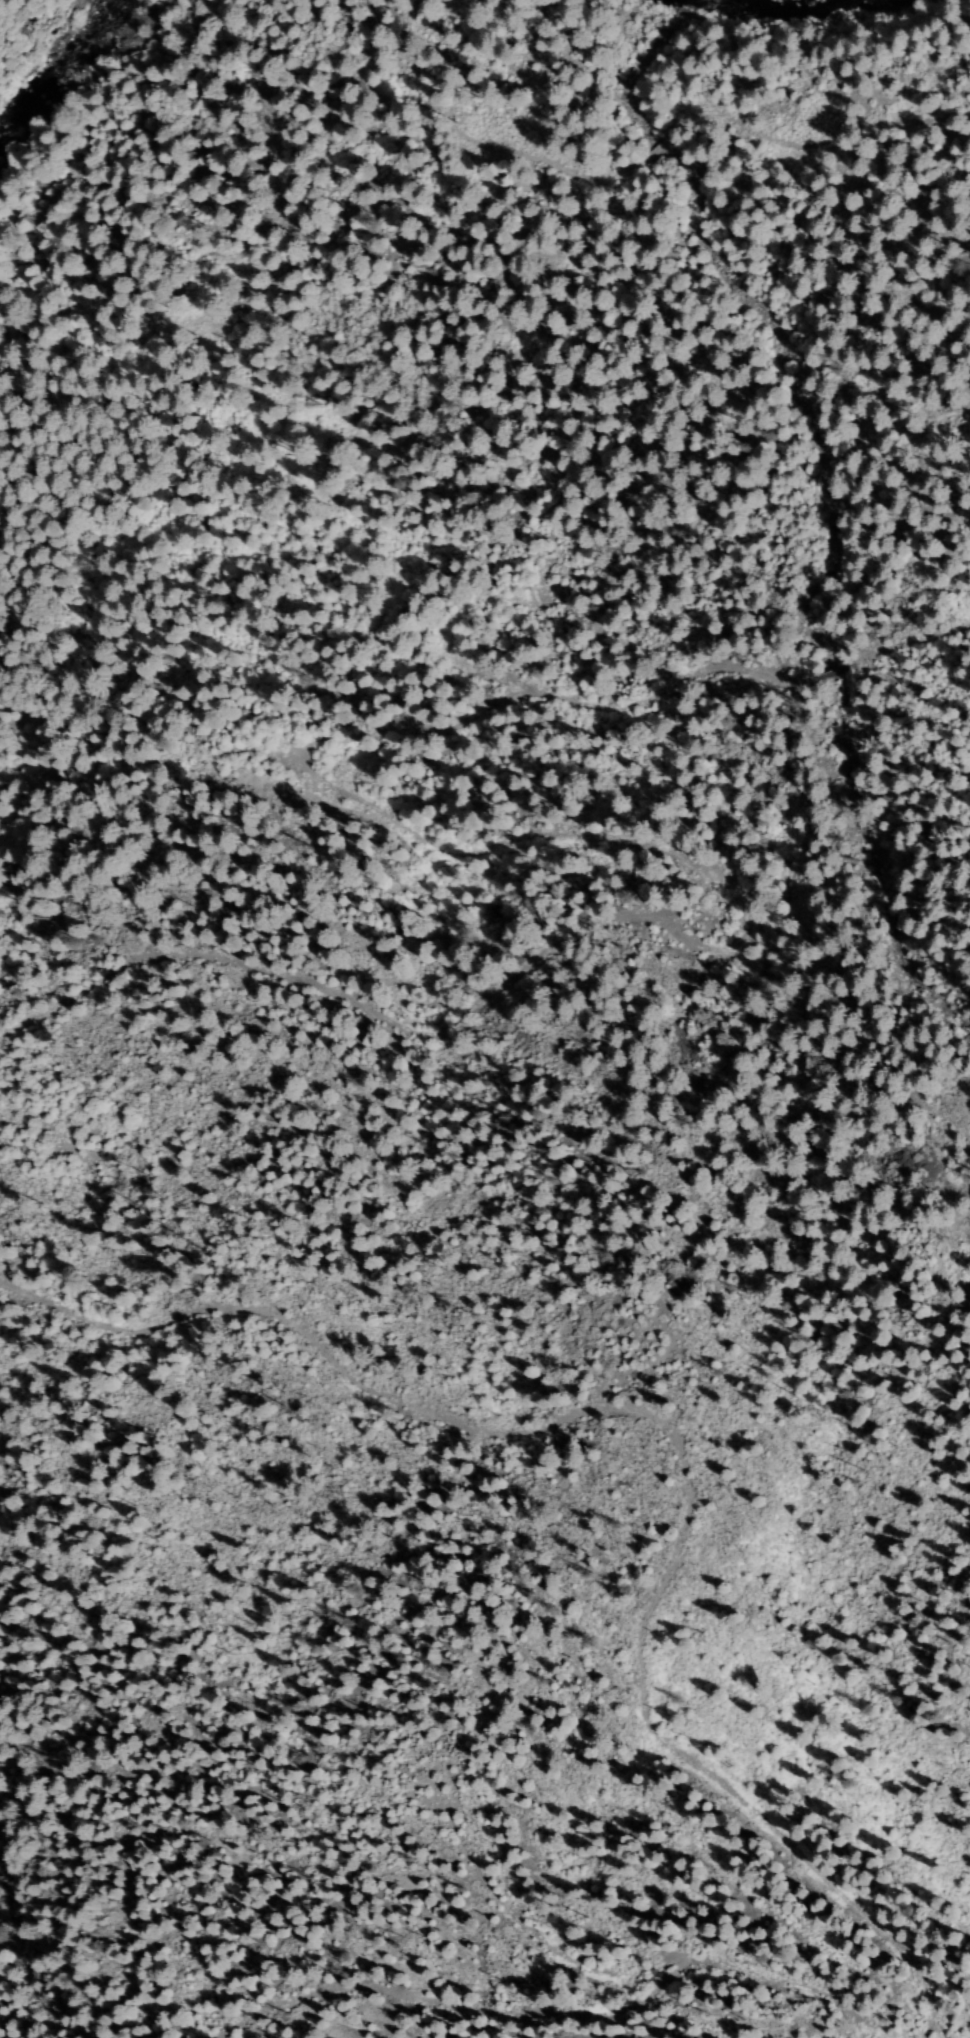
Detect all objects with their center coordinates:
river: (749, 0)
river: (50, 65)

